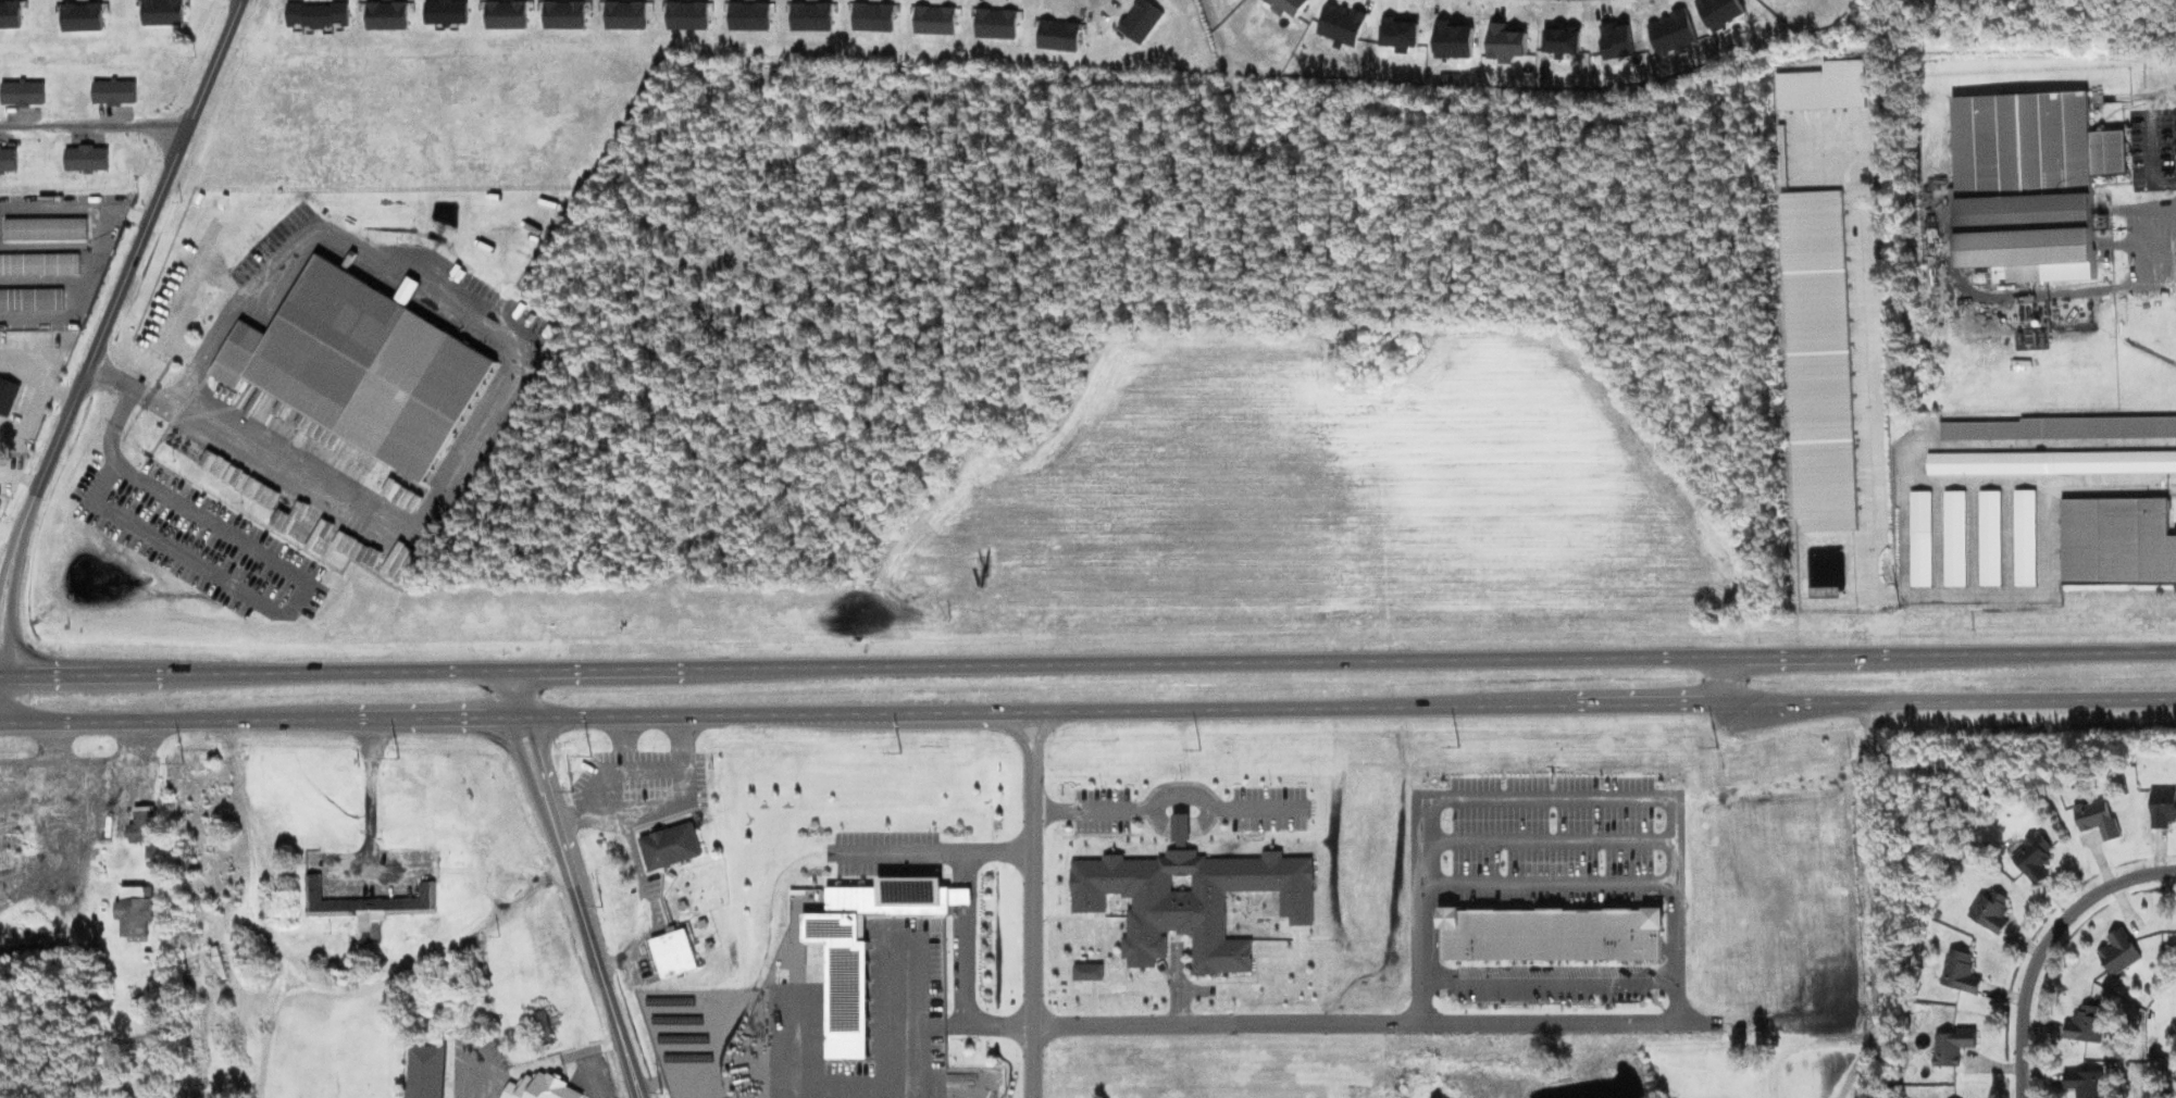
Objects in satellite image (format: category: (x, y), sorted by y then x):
building: (688, 13)
building: (935, 17)
building: (1142, 18)
building: (997, 22)
building: (1060, 34)
road: (92, 125)
building: (2038, 190)
road: (57, 211)
road: (132, 213)
road: (125, 278)
road: (78, 298)
building: (8, 395)
road: (9, 533)
building: (1920, 537)
building: (1954, 537)
building: (1990, 537)
building: (2026, 537)
building: (2116, 540)
road: (5, 572)
road: (8, 639)
road: (1087, 665)
road: (1726, 678)
road: (1087, 709)
road: (1020, 734)
road: (1040, 736)
road: (538, 741)
road: (518, 745)
road: (1168, 796)
building: (2163, 807)
road: (368, 814)
building: (2098, 819)
building: (144, 824)
building: (671, 845)
building: (2034, 856)
building: (2048, 885)
building: (1191, 898)
road: (1877, 899)
building: (372, 907)
building: (136, 910)
building: (1991, 910)
building: (1551, 934)
road: (1033, 935)
road: (2042, 940)
building: (2119, 951)
building: (675, 952)
road: (597, 956)
building: (1089, 971)
building: (1960, 971)
road: (1177, 984)
road: (320, 990)
road: (1678, 997)
road: (906, 1021)
building: (544, 1026)
building: (2085, 1026)
building: (1953, 1046)
road: (1860, 1057)
building: (426, 1071)
building: (2087, 1083)

